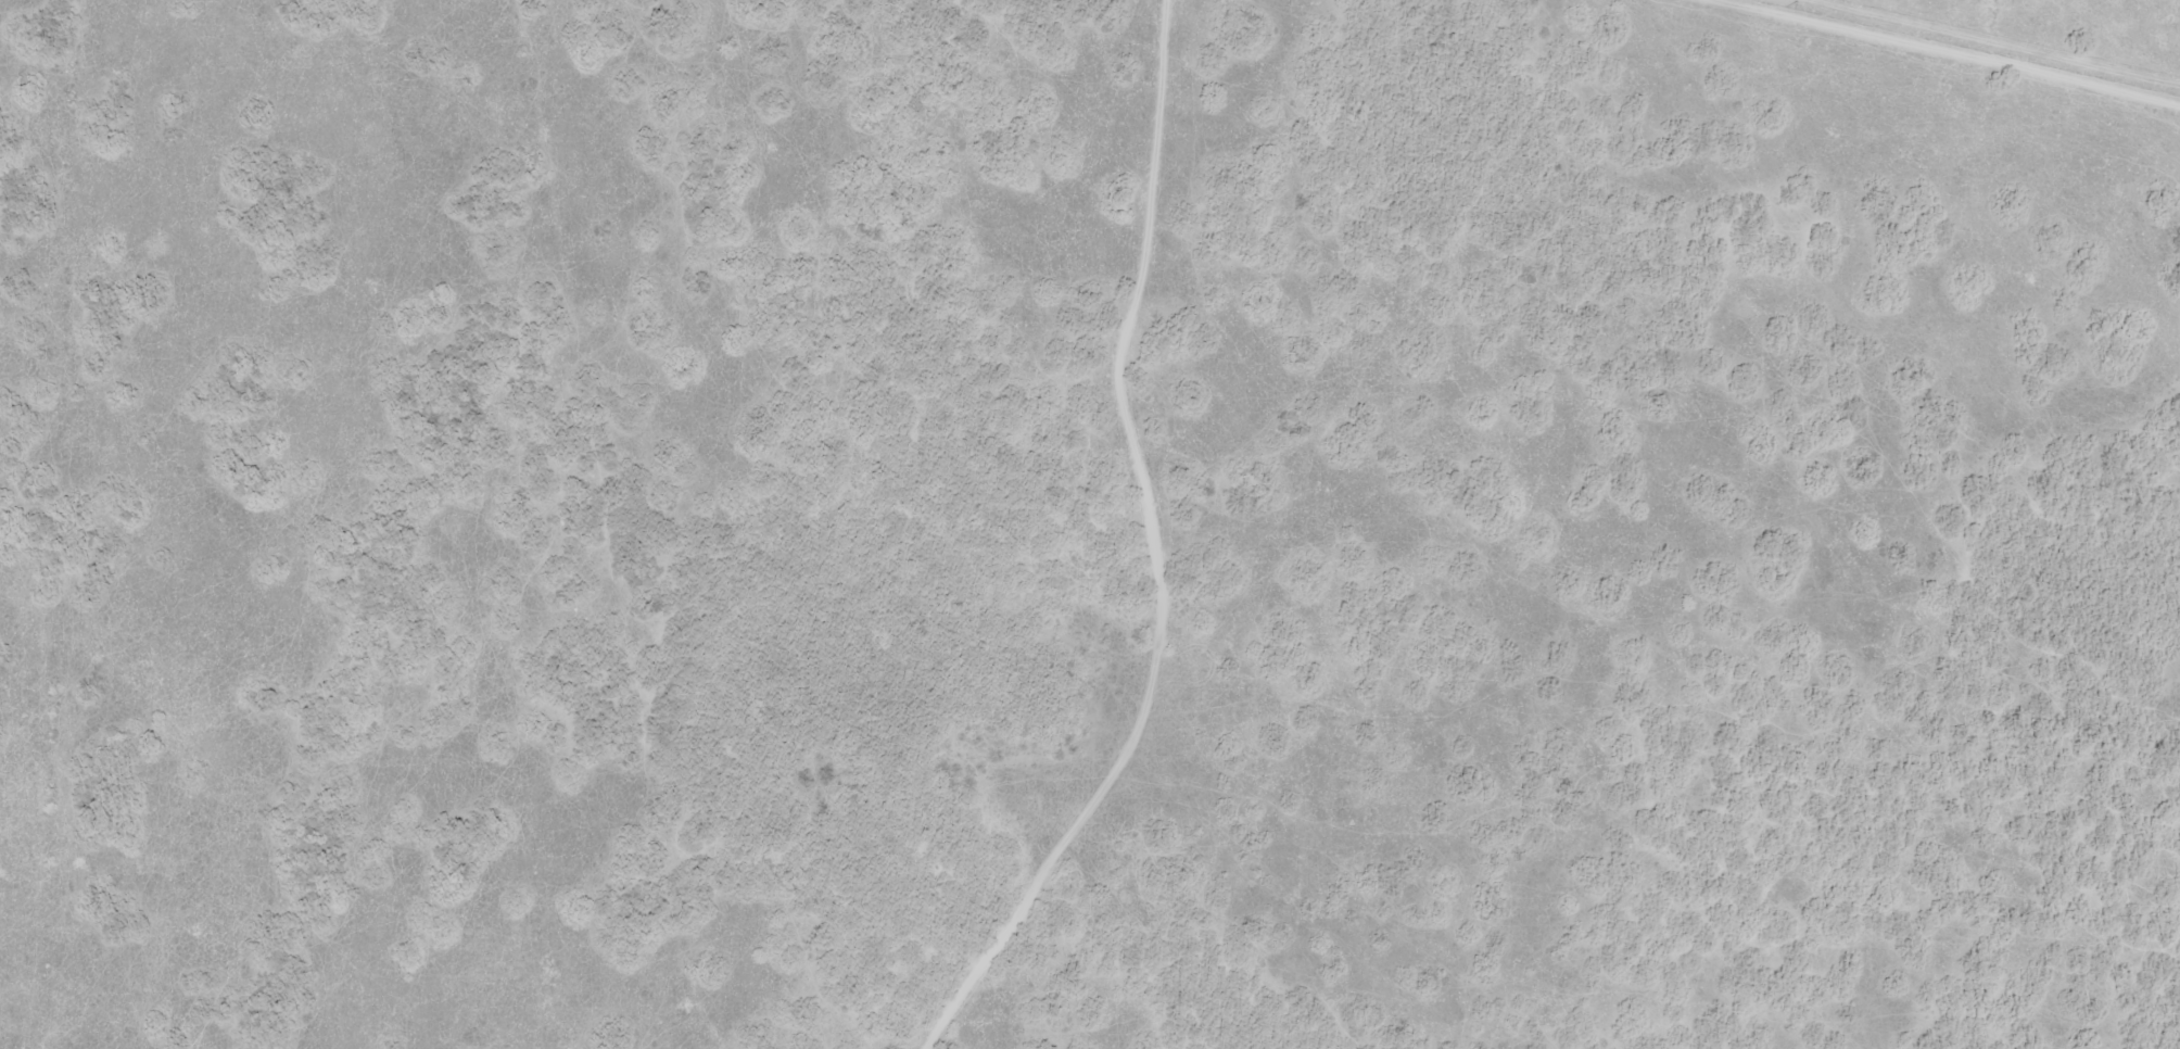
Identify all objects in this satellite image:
road: (590, 532)

